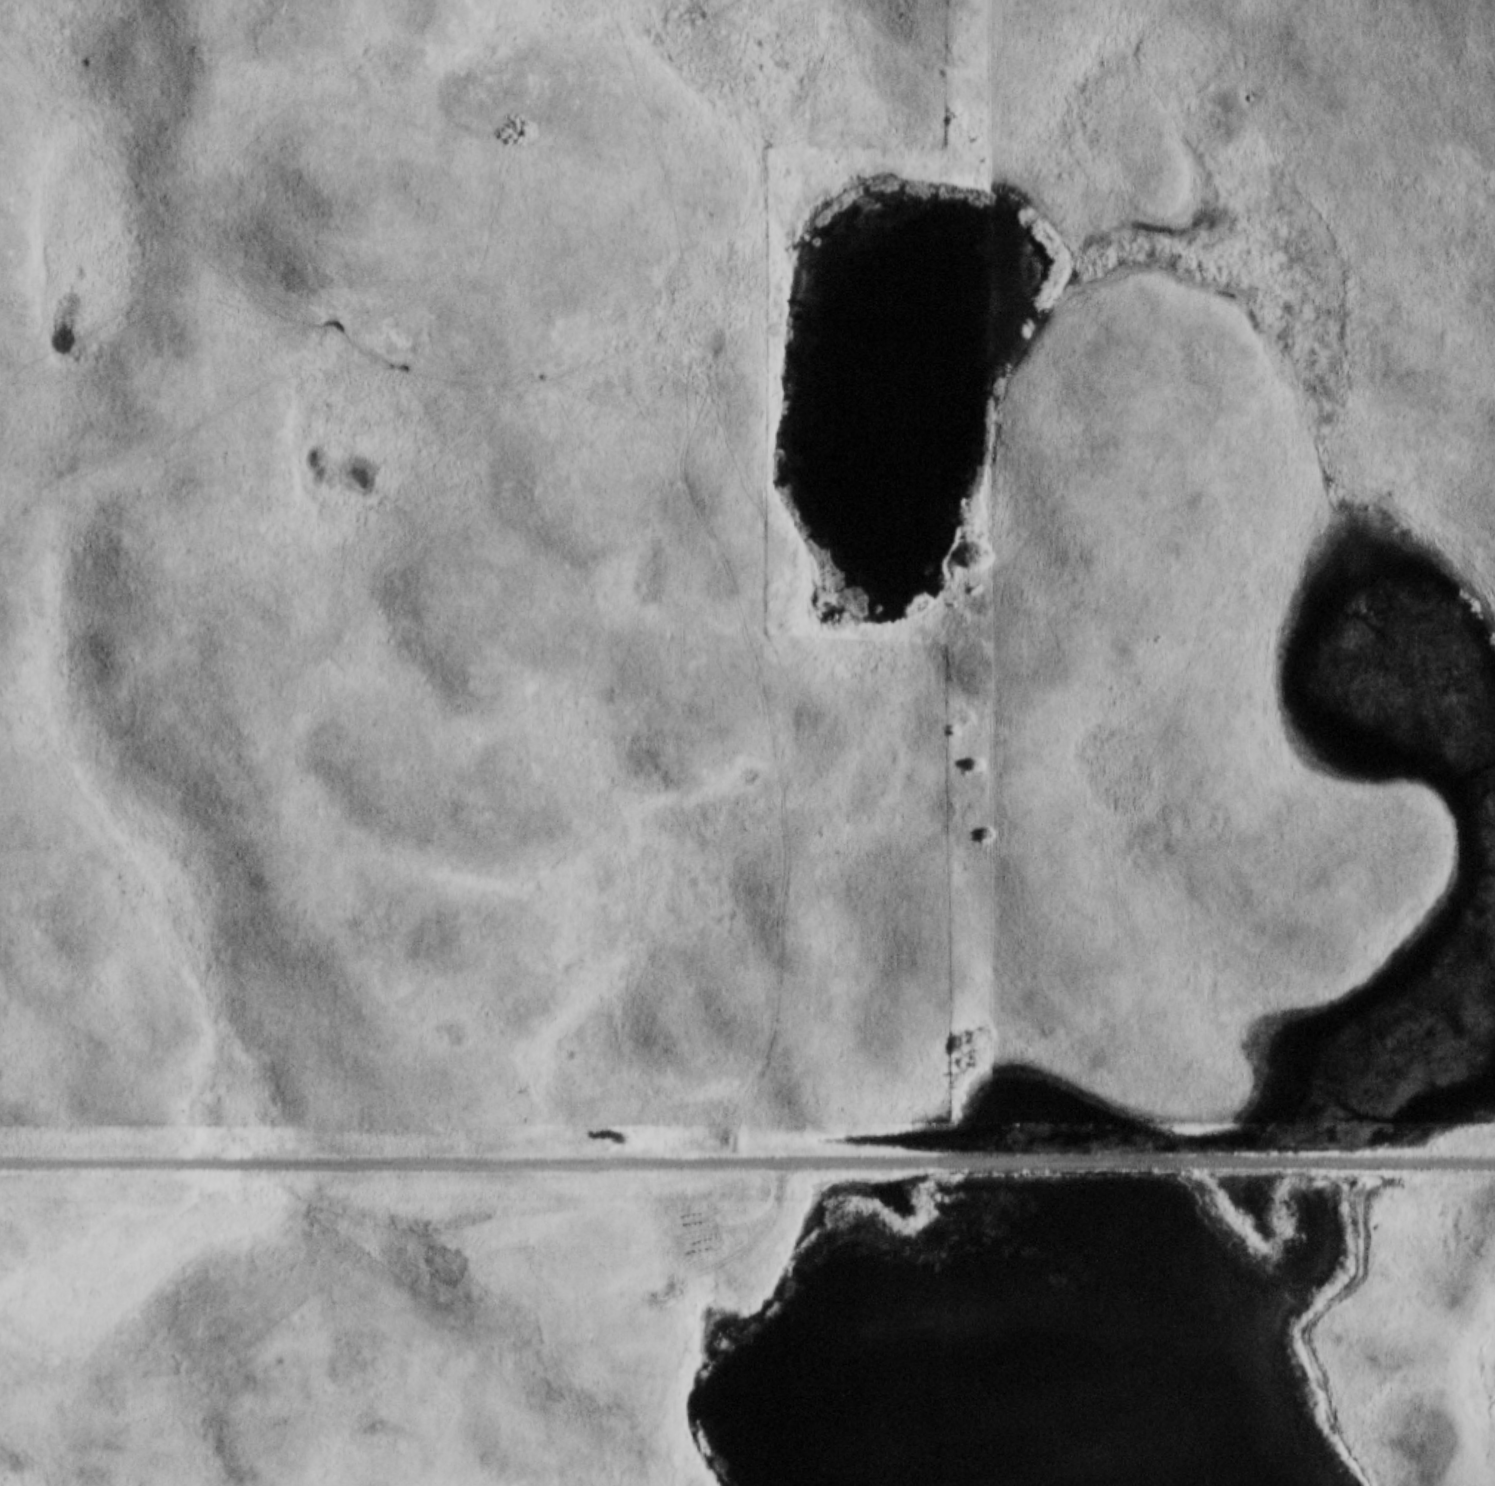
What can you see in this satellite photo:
road: (747, 1160)

